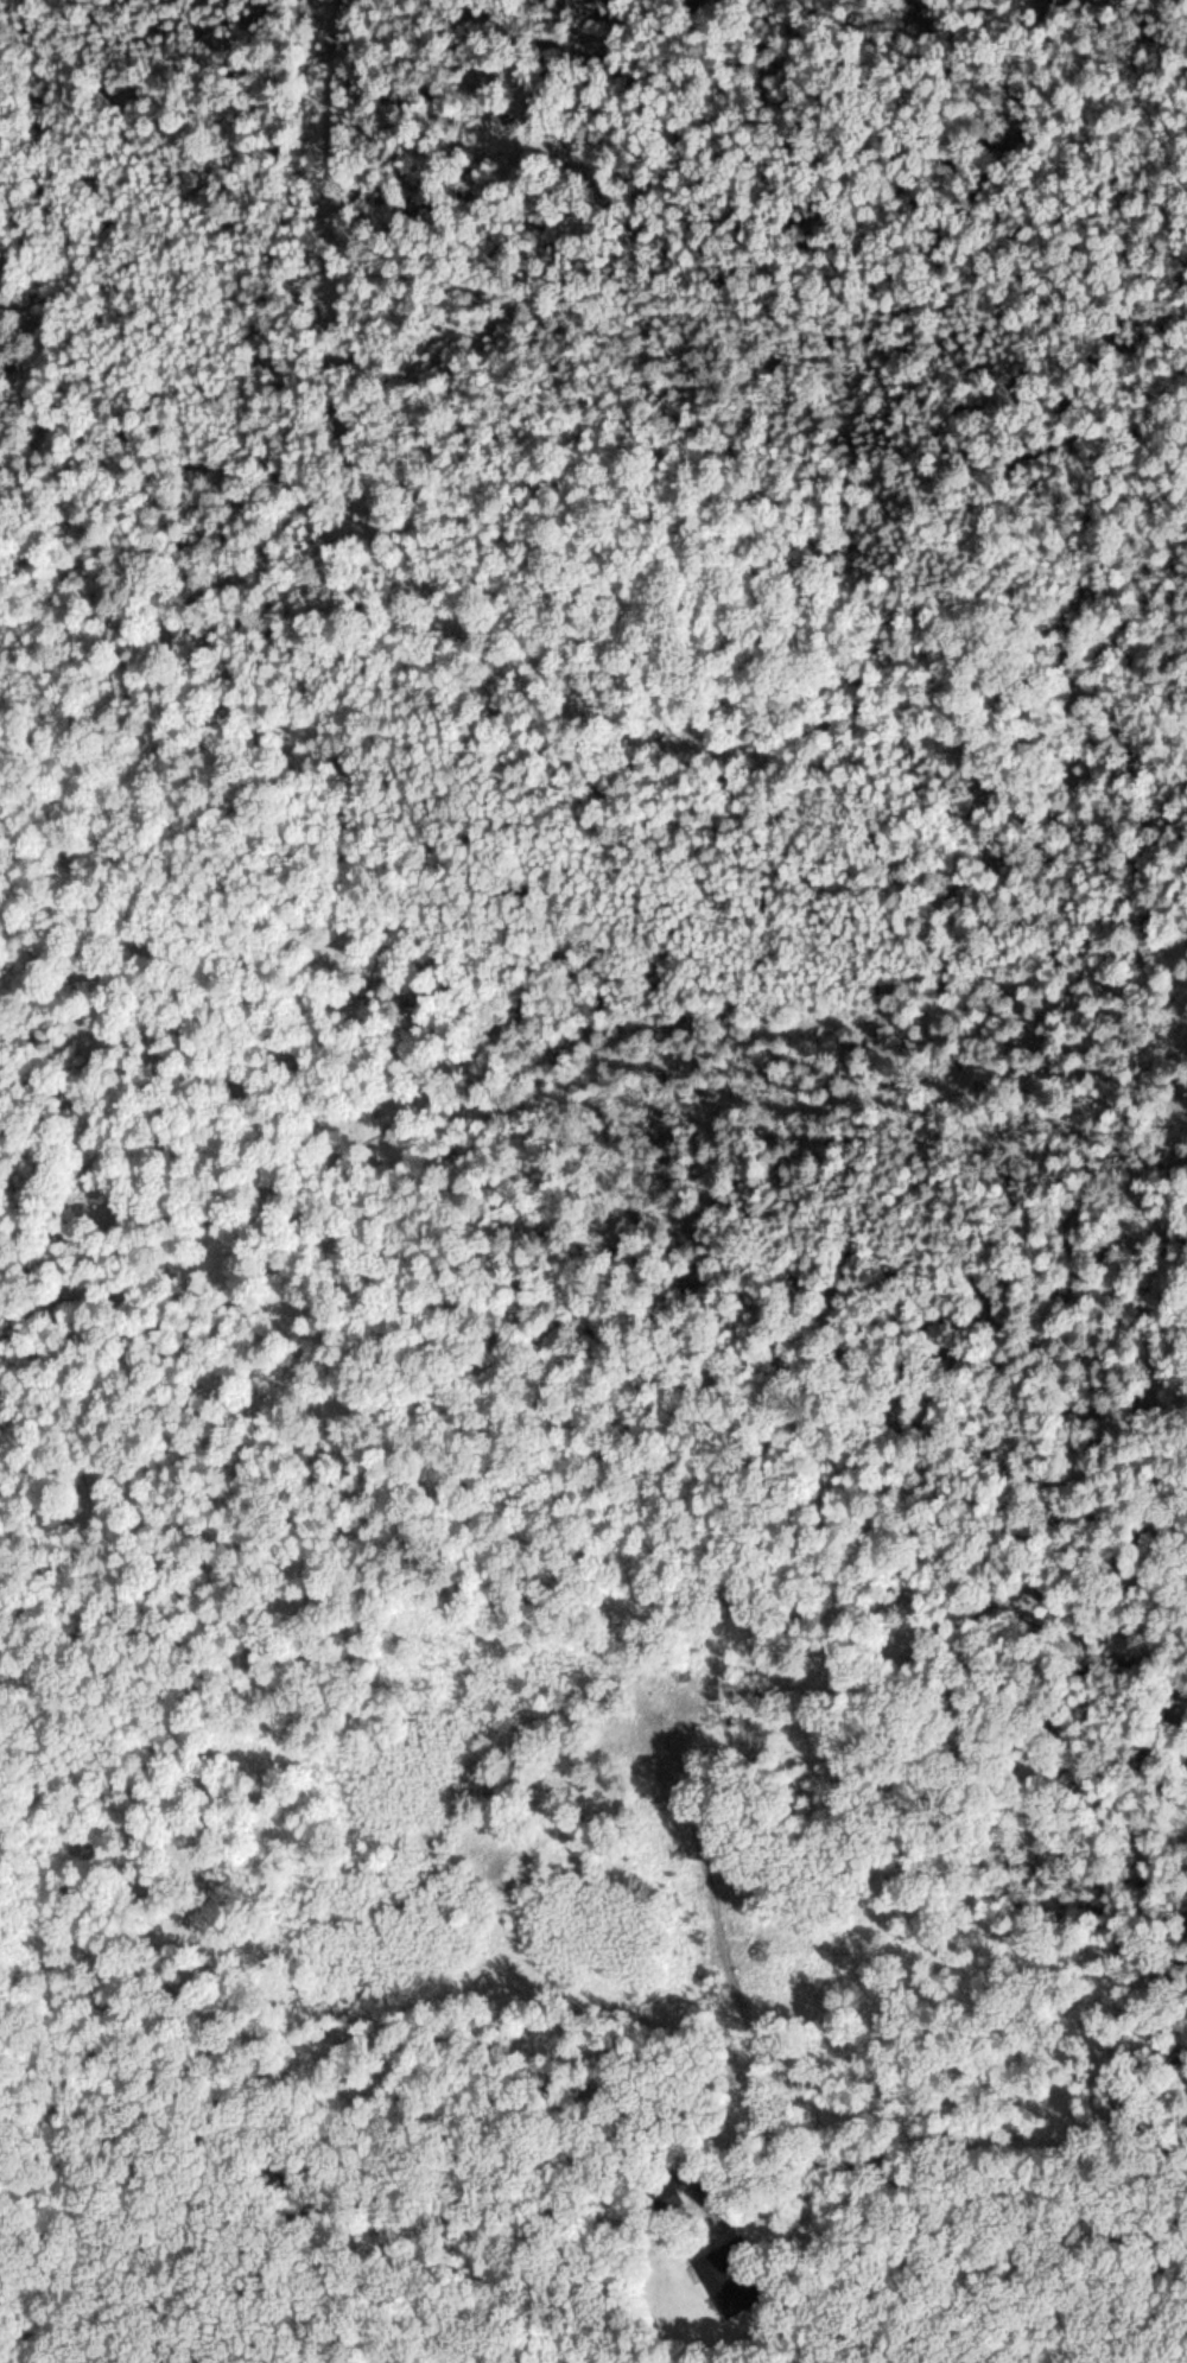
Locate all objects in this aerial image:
road: (640, 31)
building: (499, 123)
road: (775, 2113)
building: (726, 2278)

